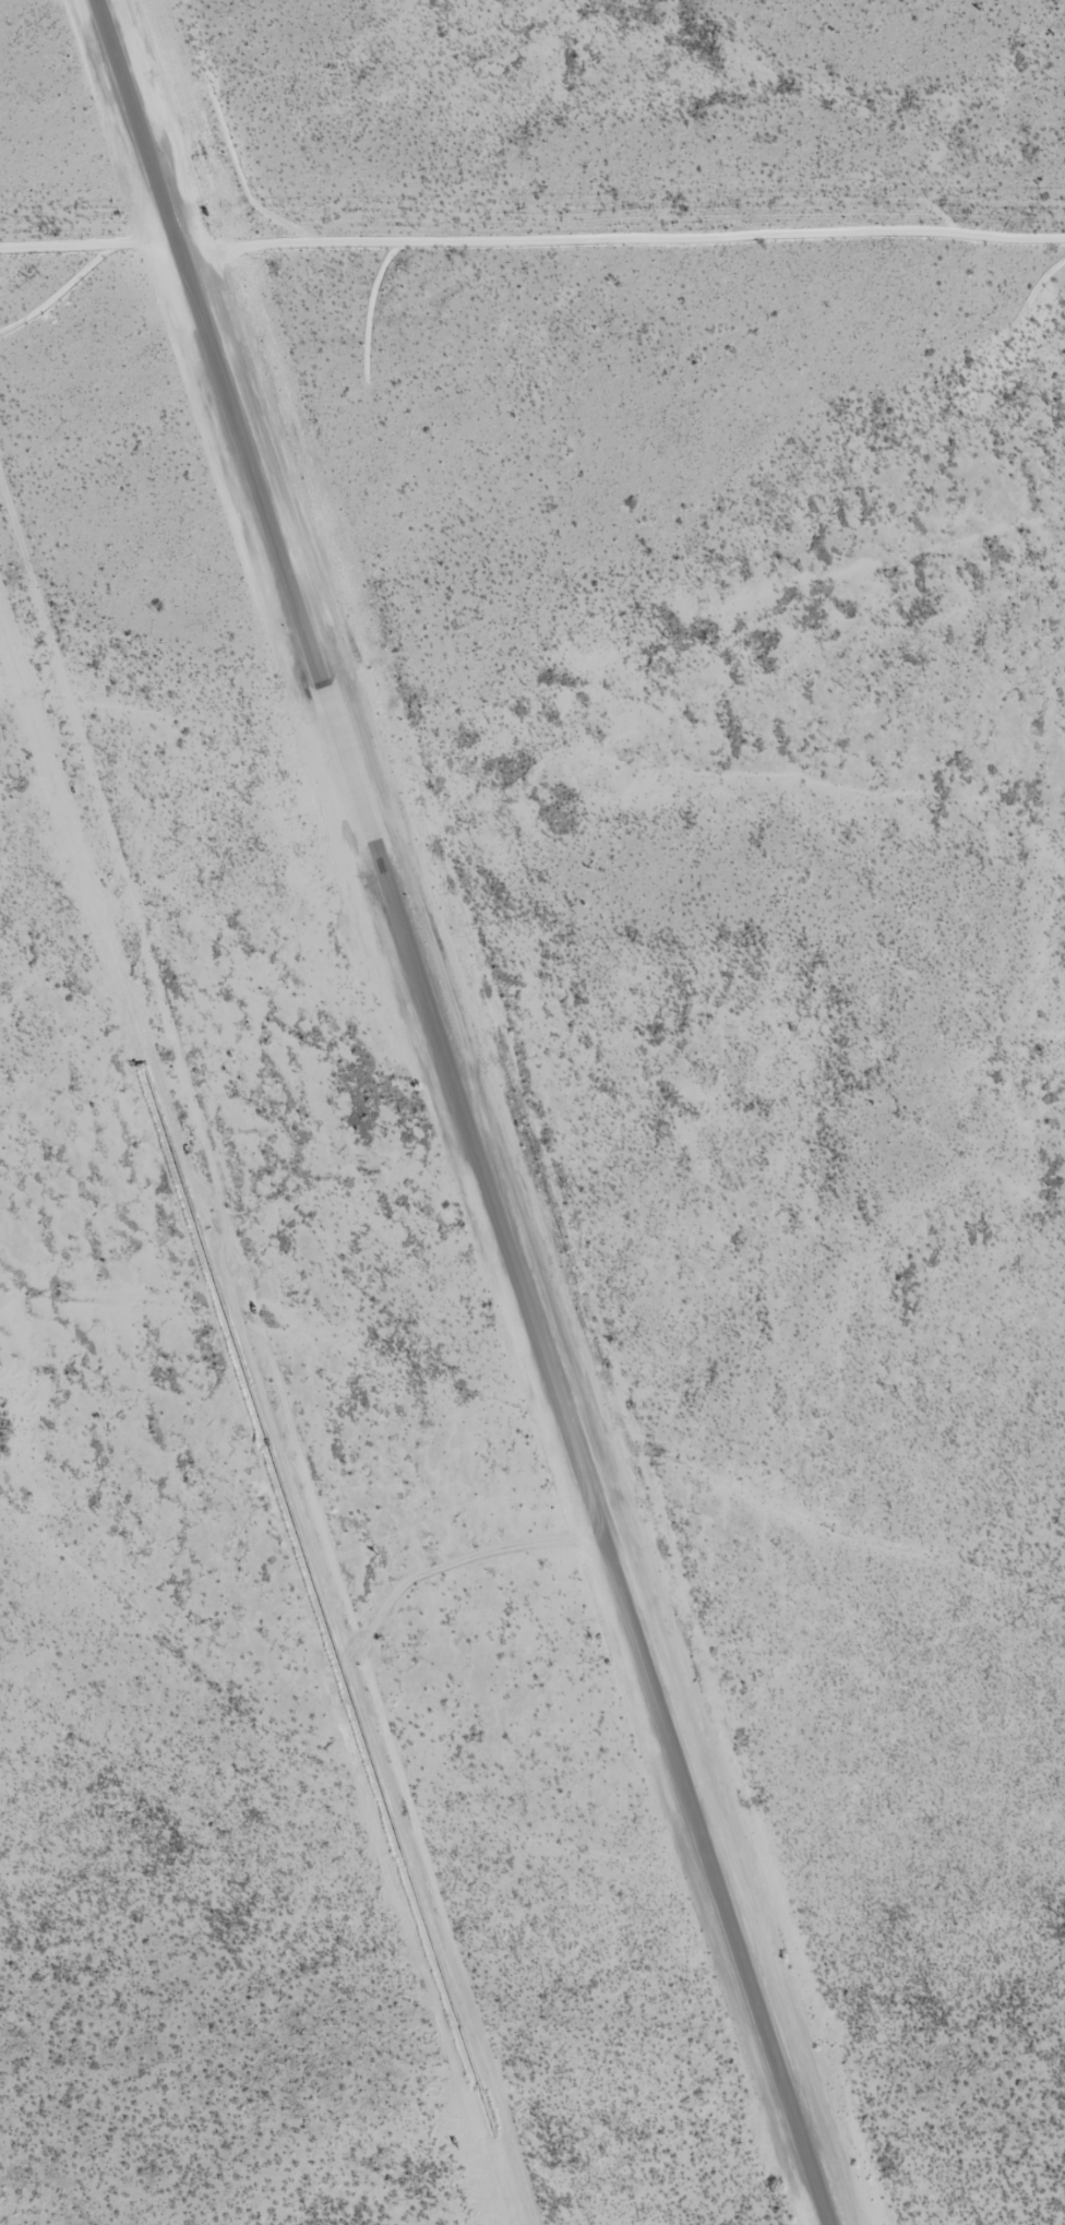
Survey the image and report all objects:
road: (532, 233)
road: (469, 1112)

